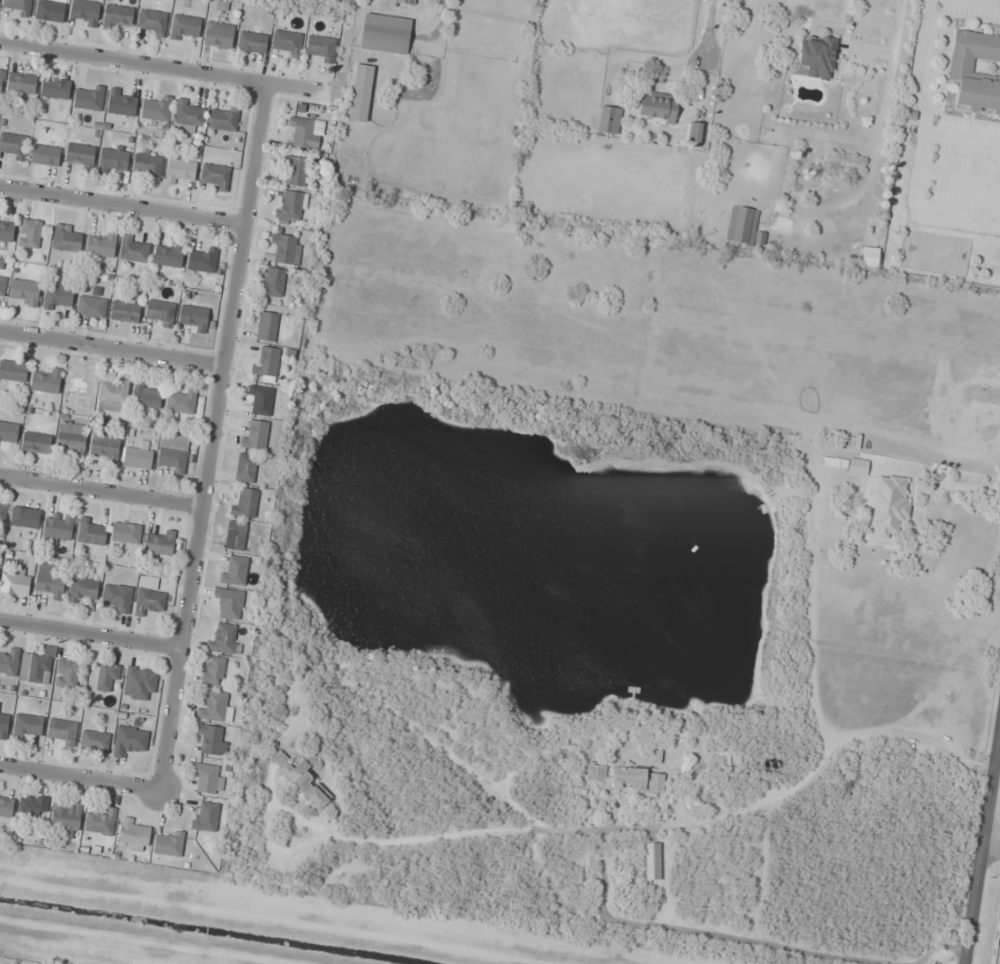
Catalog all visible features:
building: (407, 2)
building: (19, 6)
building: (50, 10)
building: (84, 12)
building: (117, 15)
building: (151, 22)
building: (184, 27)
building: (386, 33)
building: (218, 34)
building: (252, 42)
building: (287, 43)
building: (320, 48)
building: (818, 58)
road: (164, 67)
building: (976, 70)
building: (1, 78)
building: (21, 83)
building: (55, 89)
building: (361, 92)
building: (89, 98)
building: (121, 103)
building: (658, 106)
building: (155, 109)
building: (189, 114)
building: (223, 118)
building: (609, 119)
building: (306, 132)
building: (696, 132)
building: (13, 145)
building: (45, 155)
building: (80, 155)
building: (113, 158)
building: (147, 165)
building: (179, 170)
building: (296, 170)
building: (214, 176)
road: (124, 205)
building: (290, 206)
building: (743, 227)
building: (29, 233)
building: (66, 238)
building: (101, 245)
building: (284, 247)
building: (133, 249)
building: (168, 256)
building: (869, 256)
building: (202, 260)
building: (273, 282)
building: (2, 286)
building: (24, 292)
building: (58, 293)
building: (91, 306)
building: (124, 311)
building: (159, 313)
building: (193, 318)
building: (266, 325)
road: (113, 346)
building: (266, 361)
building: (13, 370)
building: (113, 395)
building: (146, 396)
building: (181, 401)
building: (8, 434)
building: (255, 435)
road: (215, 436)
building: (71, 440)
building: (36, 442)
building: (105, 448)
building: (173, 451)
building: (137, 457)
building: (834, 462)
building: (857, 466)
building: (248, 468)
road: (102, 491)
building: (245, 502)
building: (889, 505)
building: (2, 512)
building: (24, 517)
building: (57, 528)
building: (90, 531)
building: (126, 532)
building: (235, 535)
building: (160, 543)
building: (15, 584)
building: (50, 584)
building: (82, 589)
building: (149, 596)
building: (118, 597)
building: (229, 603)
road: (91, 634)
building: (224, 639)
building: (9, 662)
building: (39, 668)
building: (214, 671)
building: (67, 673)
building: (106, 675)
building: (139, 682)
building: (0, 706)
building: (216, 707)
building: (3, 725)
building: (27, 725)
building: (61, 731)
building: (129, 739)
building: (212, 739)
building: (94, 740)
building: (654, 756)
building: (626, 776)
building: (206, 777)
road: (81, 778)
building: (301, 779)
building: (855, 784)
building: (33, 805)
building: (6, 807)
building: (207, 817)
building: (66, 818)
building: (101, 822)
building: (134, 835)
road: (993, 835)
building: (169, 844)
road: (983, 852)
road: (991, 854)
building: (653, 863)

